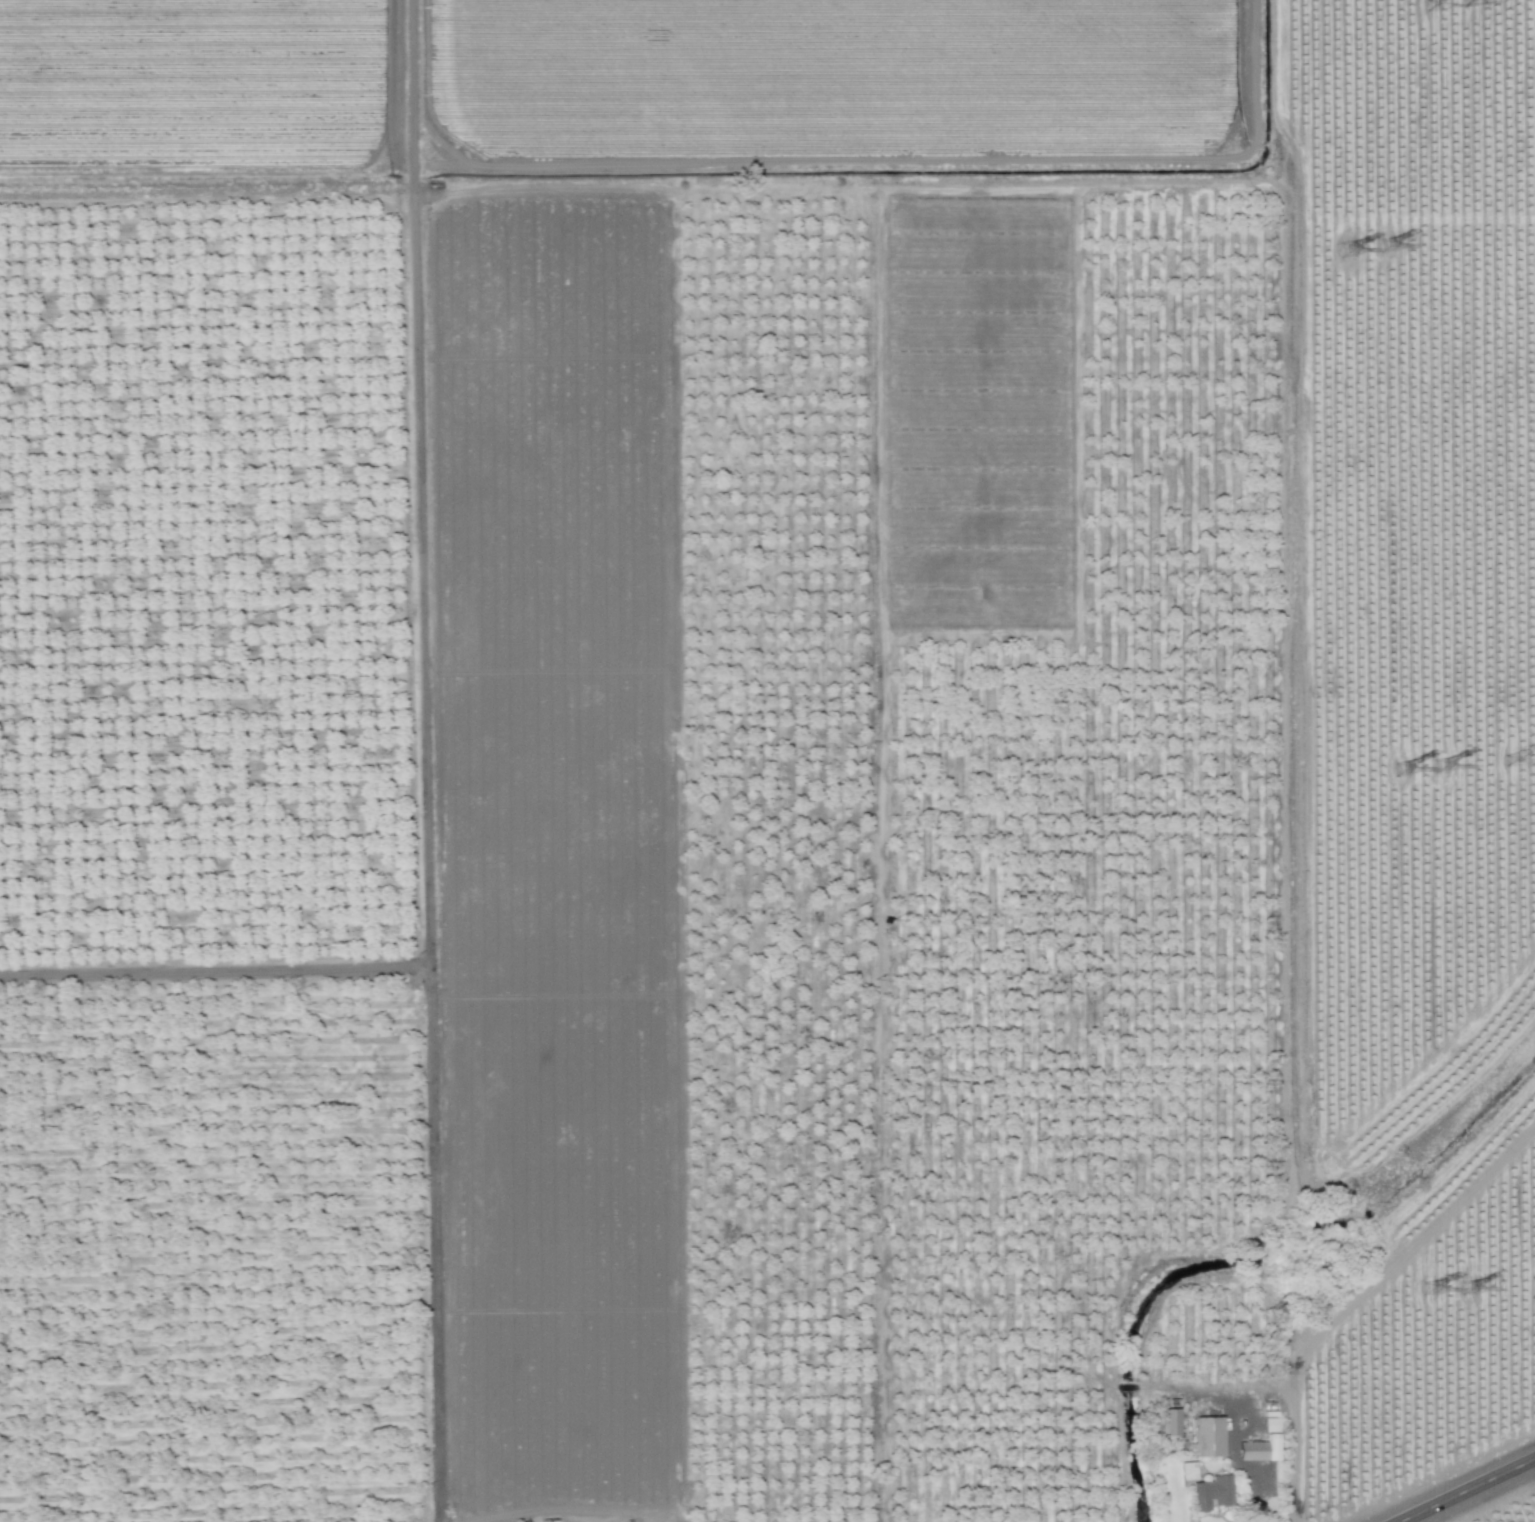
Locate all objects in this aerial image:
power tower: (1443, 4)
power tower: (1383, 247)
power tower: (1344, 252)
road: (425, 761)
power tower: (1522, 761)
power tower: (1438, 769)
power tower: (1399, 770)
road: (215, 973)
power tower: (1426, 1290)
power tower: (1464, 1290)
building: (1169, 1423)
building: (1207, 1438)
building: (1259, 1450)
building: (1186, 1471)
road: (1253, 1488)
road: (1462, 1489)
building: (1208, 1490)
road: (618, 1517)
building: (548, 1520)

